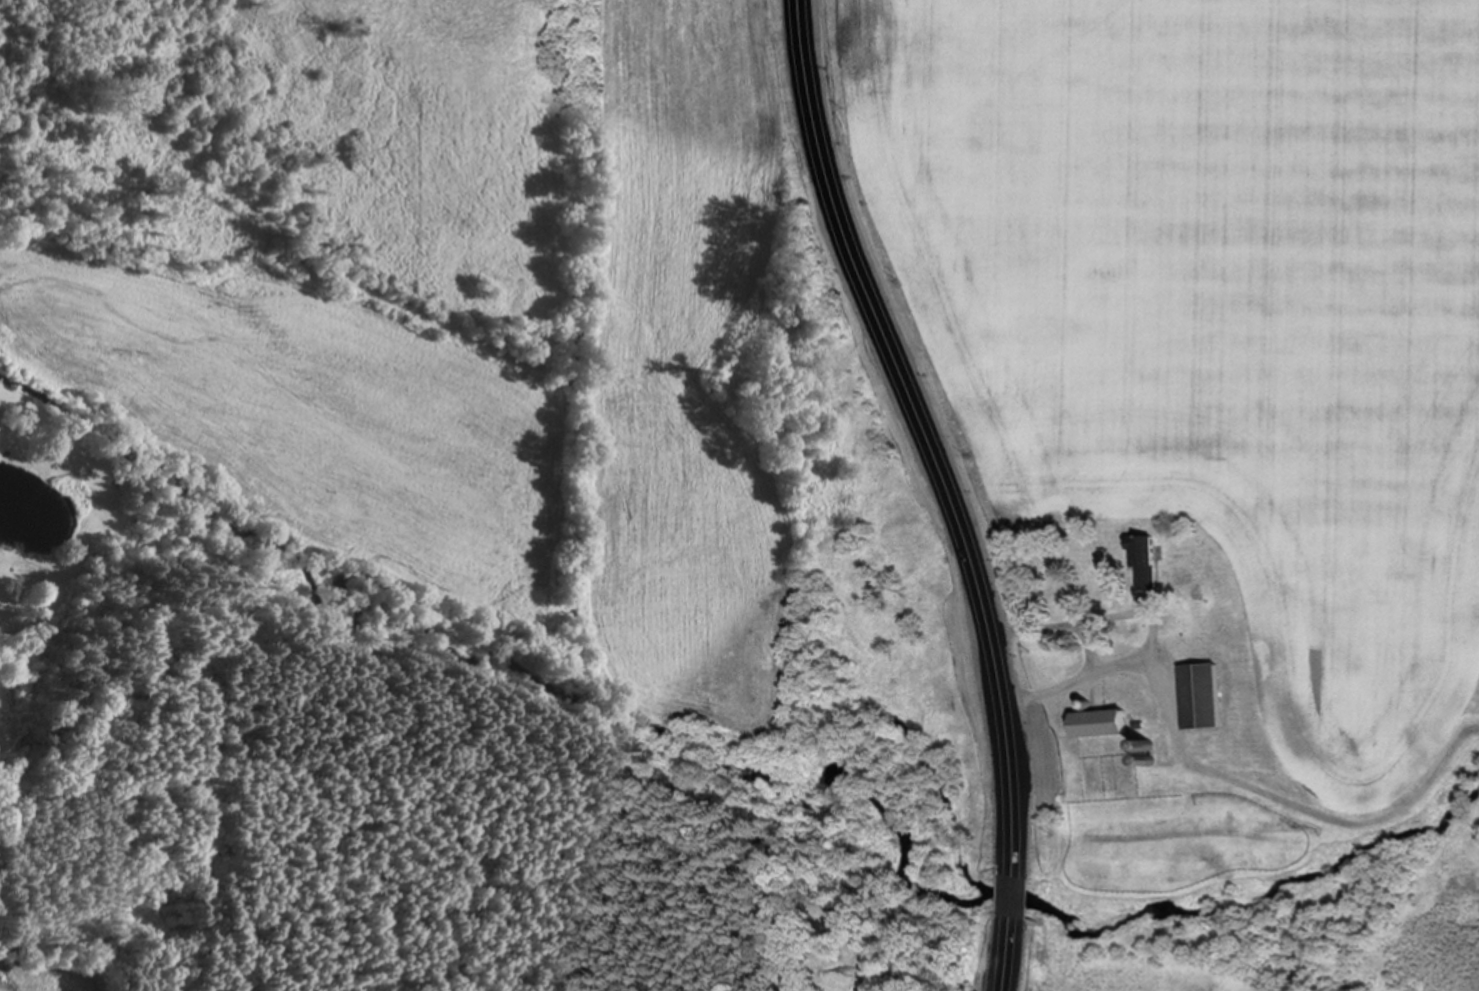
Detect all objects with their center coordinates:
road: (949, 487)
building: (1143, 560)
road: (1152, 618)
road: (1089, 634)
building: (1201, 696)
building: (1099, 724)

